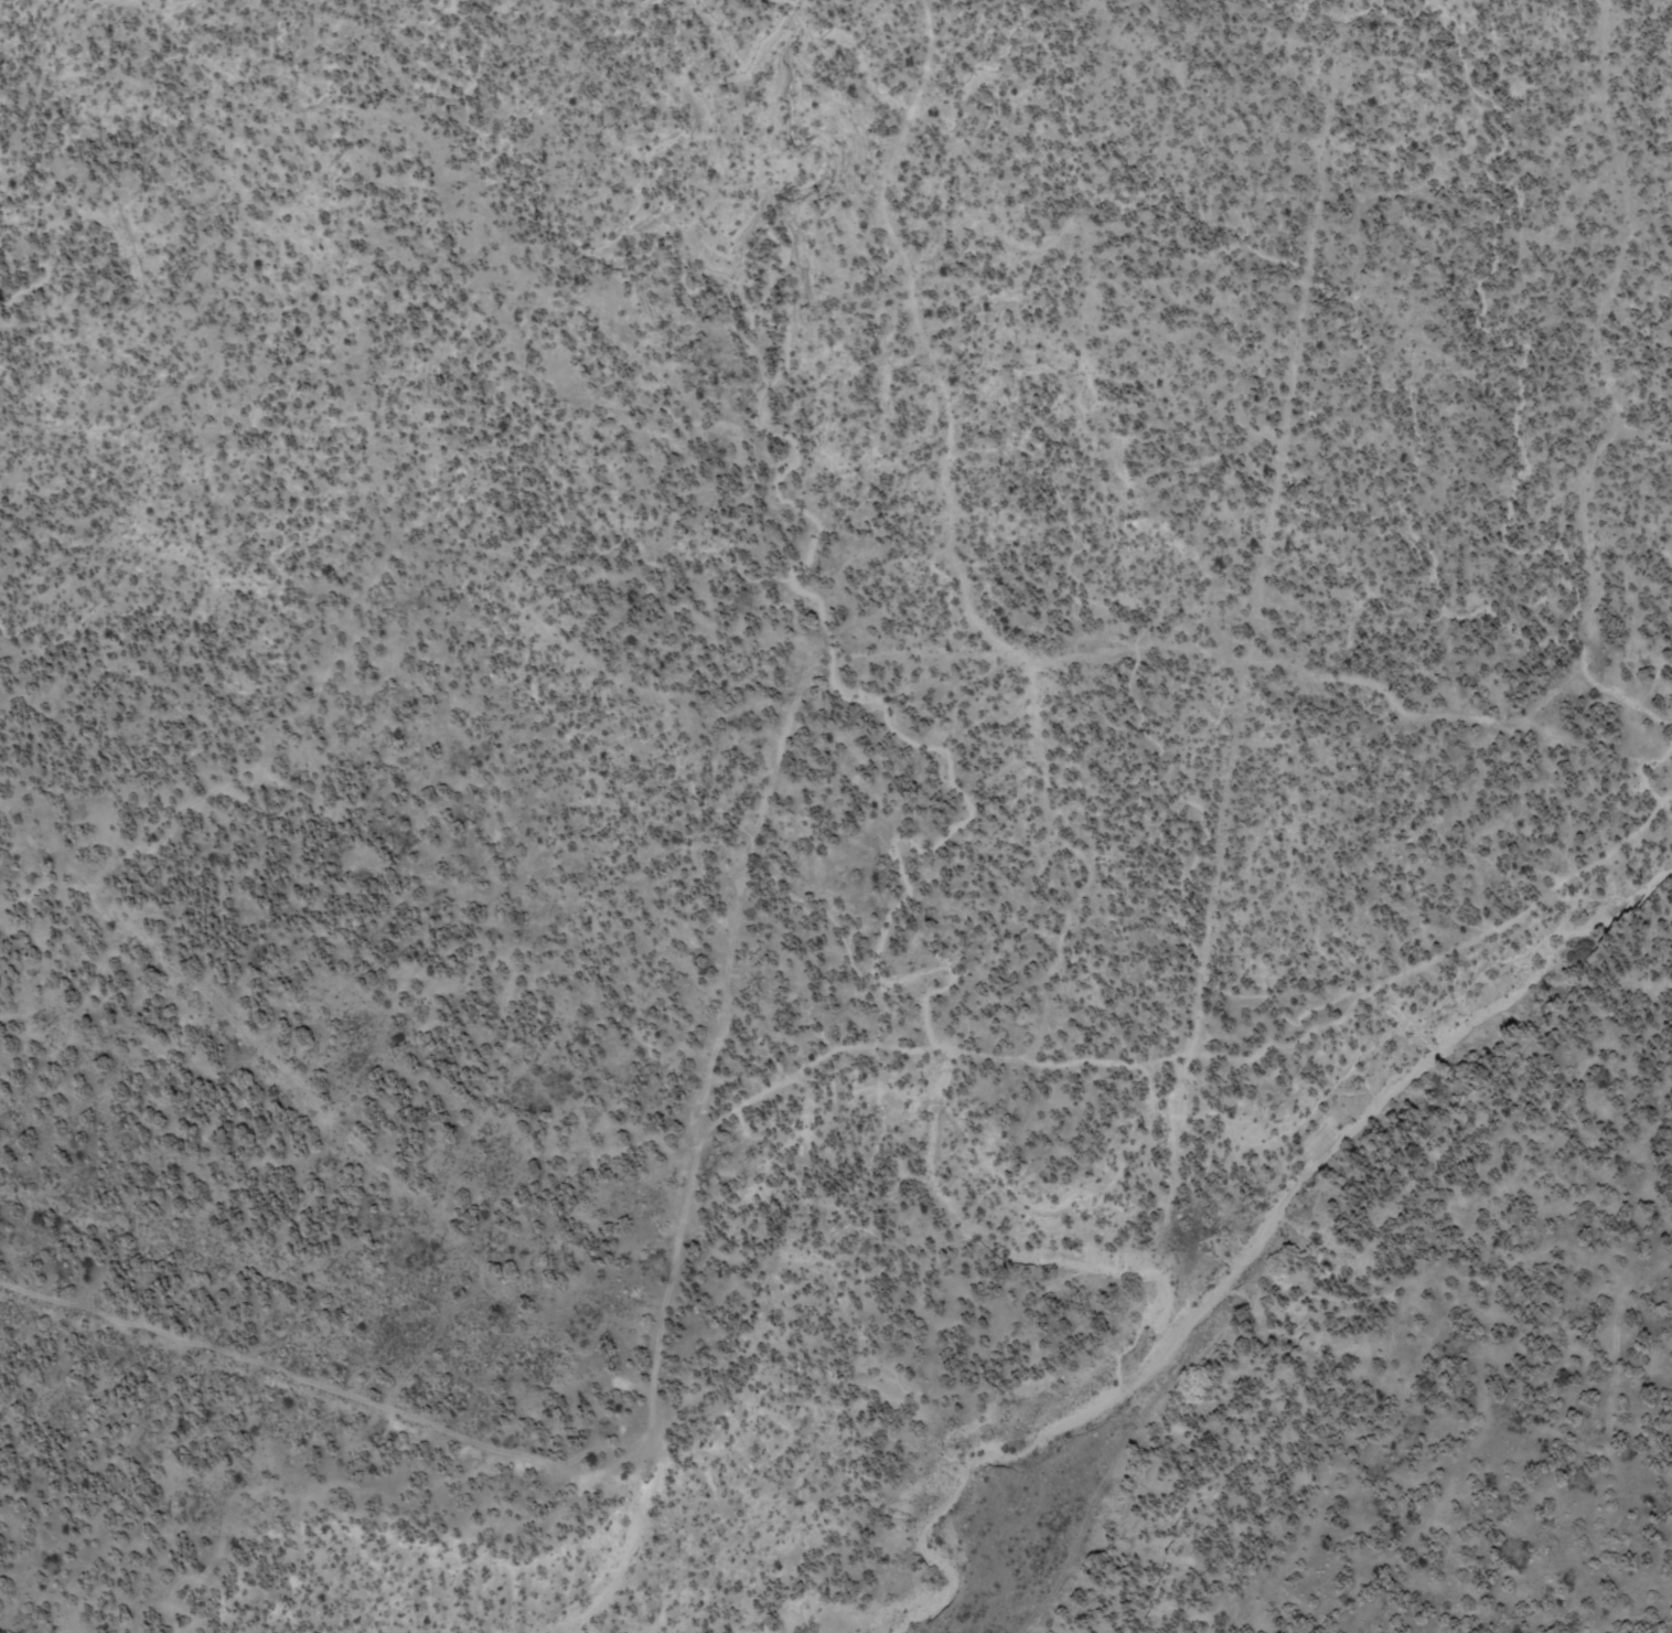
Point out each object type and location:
road: (787, 726)
road: (1449, 1291)
road: (1632, 1419)

